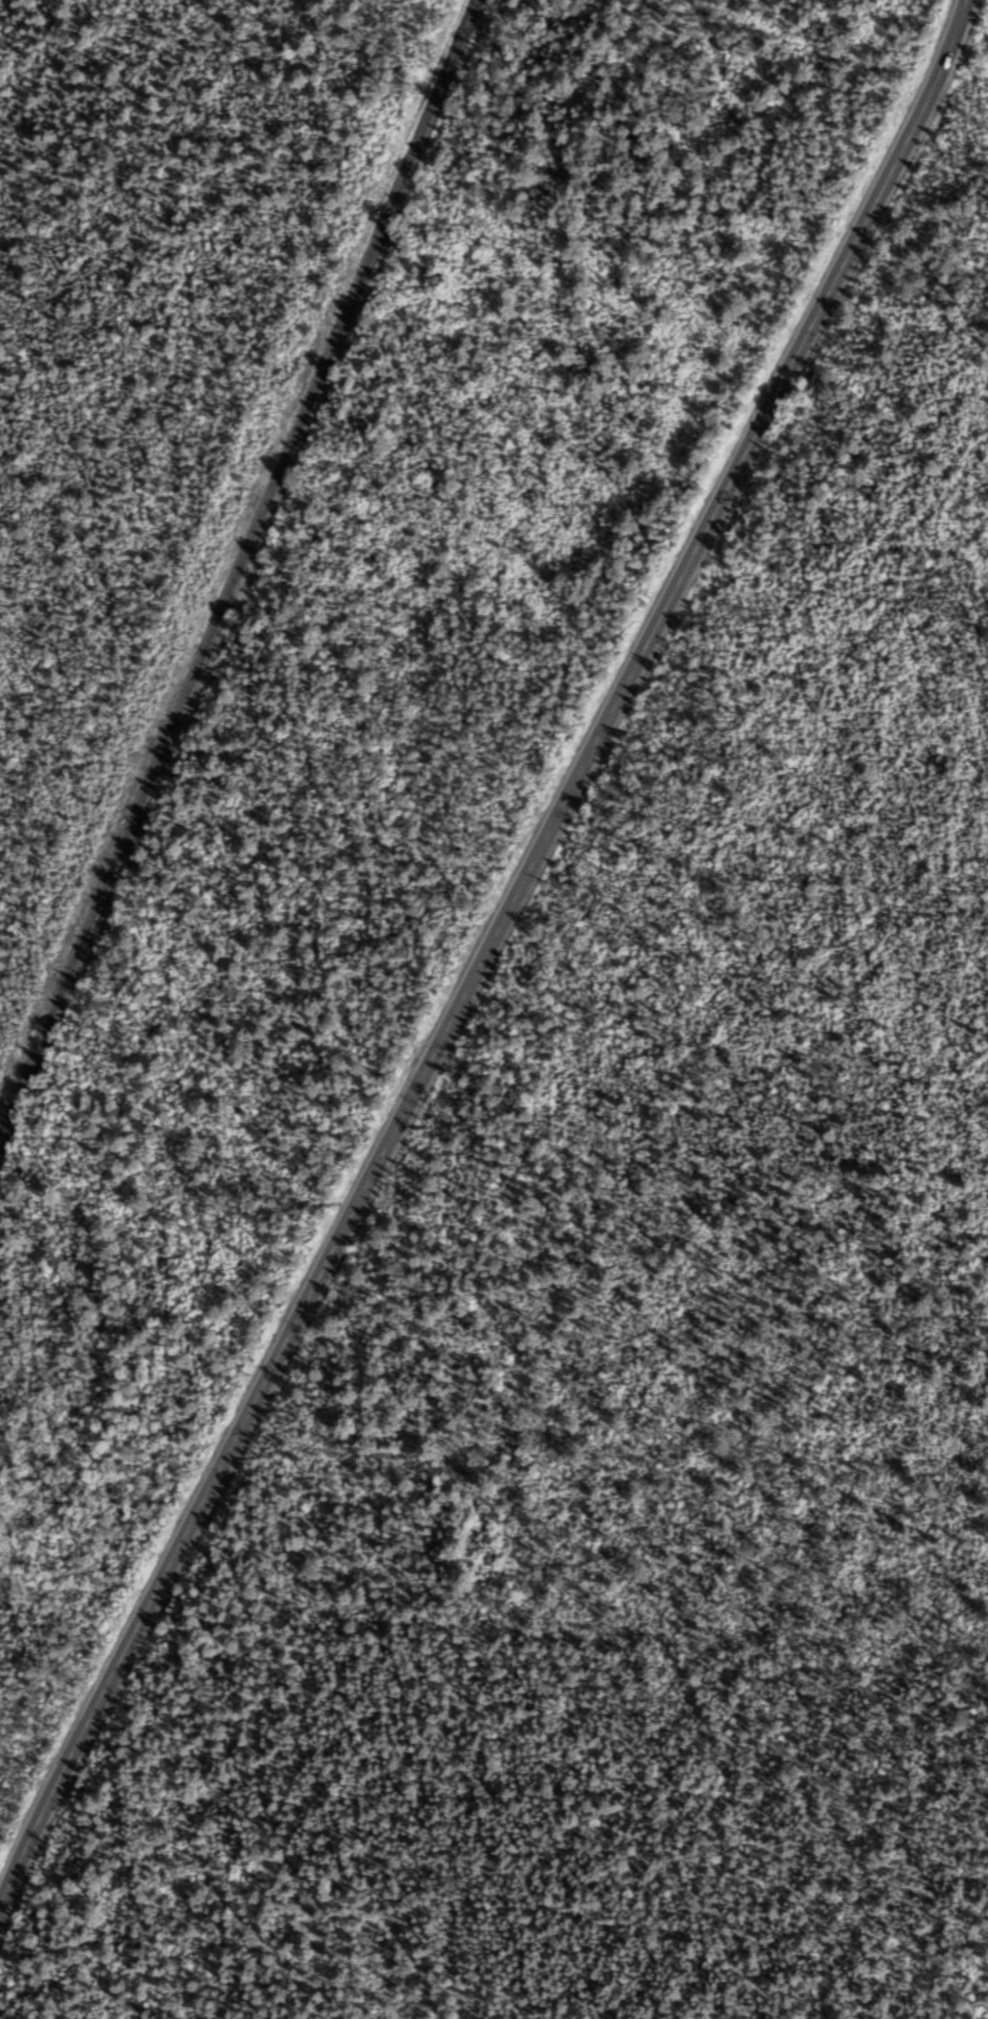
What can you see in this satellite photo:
railway: (237, 572)
road: (483, 954)

